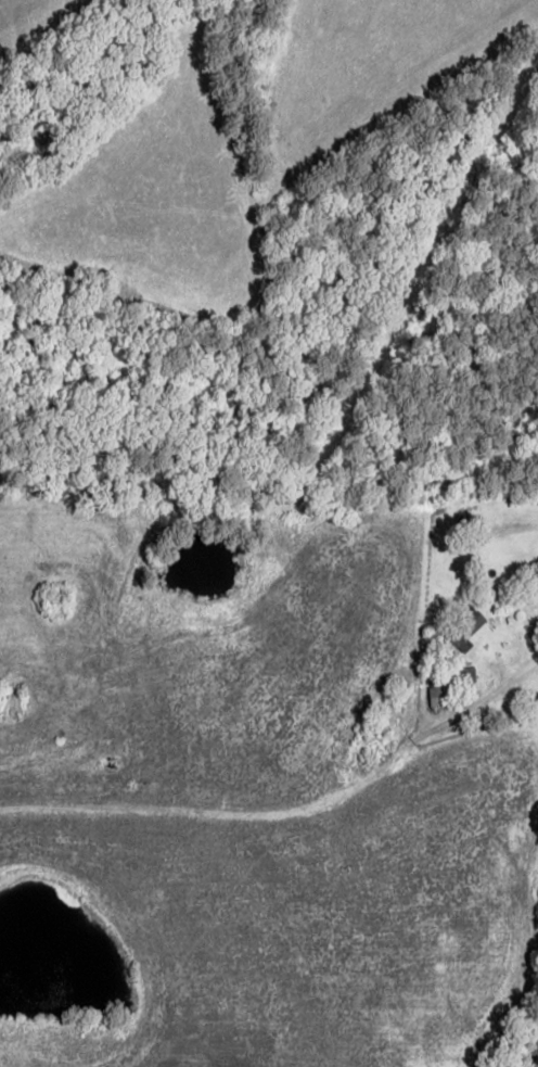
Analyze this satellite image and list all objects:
building: (462, 632)
building: (467, 677)
building: (439, 696)
road: (530, 1044)

